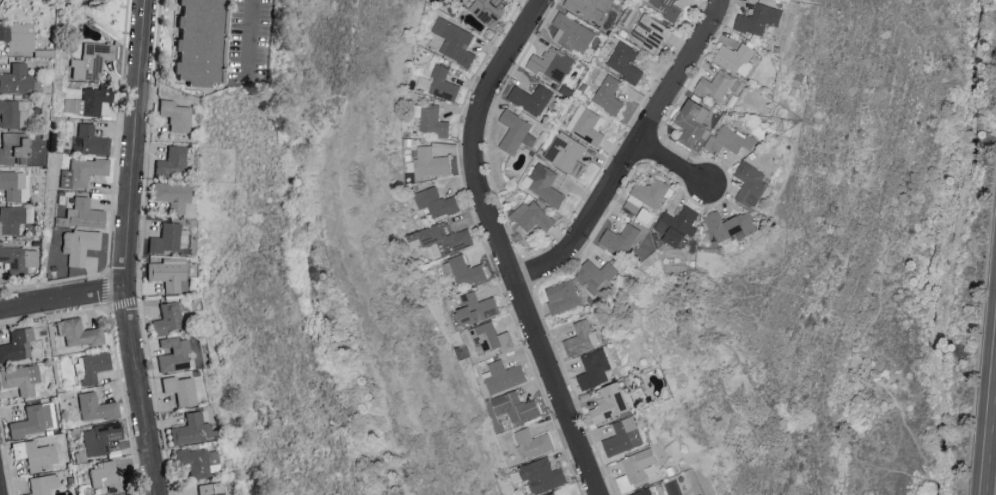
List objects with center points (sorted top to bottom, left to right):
building: (100, 0)
building: (591, 8)
building: (669, 8)
building: (492, 9)
building: (761, 19)
building: (651, 32)
building: (575, 33)
building: (18, 36)
road: (248, 40)
building: (204, 41)
building: (457, 41)
building: (738, 58)
building: (92, 60)
building: (626, 61)
building: (553, 64)
building: (17, 79)
building: (717, 85)
building: (609, 93)
building: (533, 97)
building: (90, 100)
building: (14, 112)
building: (176, 115)
building: (434, 121)
building: (694, 122)
building: (588, 125)
building: (515, 130)
building: (91, 140)
building: (730, 141)
building: (14, 148)
building: (567, 153)
road: (630, 155)
building: (173, 161)
building: (431, 162)
road: (672, 165)
building: (84, 171)
building: (546, 183)
building: (752, 183)
building: (15, 184)
building: (654, 191)
building: (175, 196)
building: (438, 201)
building: (86, 213)
building: (534, 215)
building: (12, 219)
building: (678, 224)
building: (733, 225)
building: (623, 237)
building: (169, 238)
building: (447, 239)
road: (499, 244)
building: (80, 245)
road: (128, 248)
building: (20, 258)
building: (466, 270)
building: (170, 273)
building: (598, 275)
building: (565, 296)
road: (63, 300)
building: (480, 307)
building: (168, 318)
building: (81, 333)
building: (492, 337)
building: (582, 337)
building: (17, 344)
building: (173, 354)
building: (92, 366)
building: (596, 368)
building: (504, 375)
building: (21, 377)
building: (180, 388)
building: (613, 401)
building: (97, 406)
building: (518, 406)
road: (989, 417)
building: (33, 420)
building: (191, 427)
building: (624, 436)
building: (101, 438)
building: (534, 442)
building: (36, 453)
building: (196, 461)
building: (638, 468)
building: (105, 473)
building: (544, 475)
building: (43, 484)
building: (210, 488)
building: (648, 491)
building: (130, 494)
building: (556, 494)

